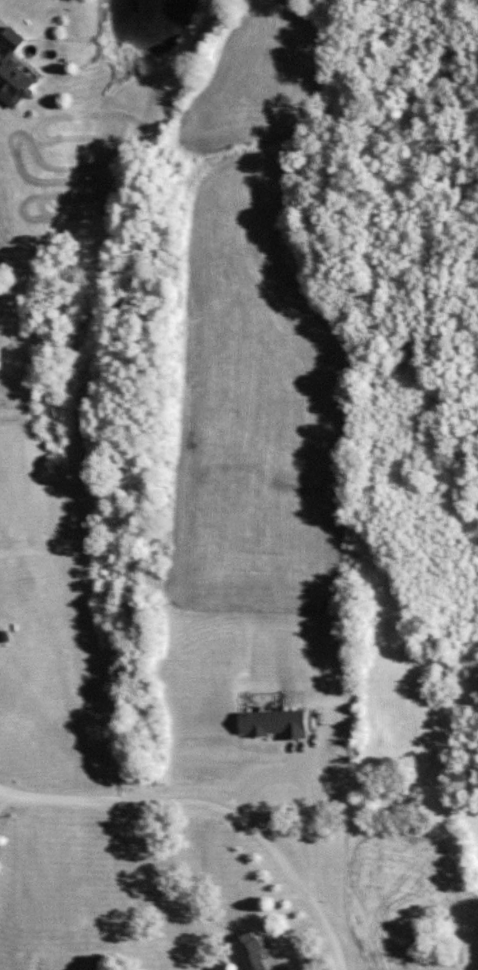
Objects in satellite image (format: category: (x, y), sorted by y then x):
building: (12, 67)
building: (270, 722)
road: (213, 808)
building: (247, 951)

